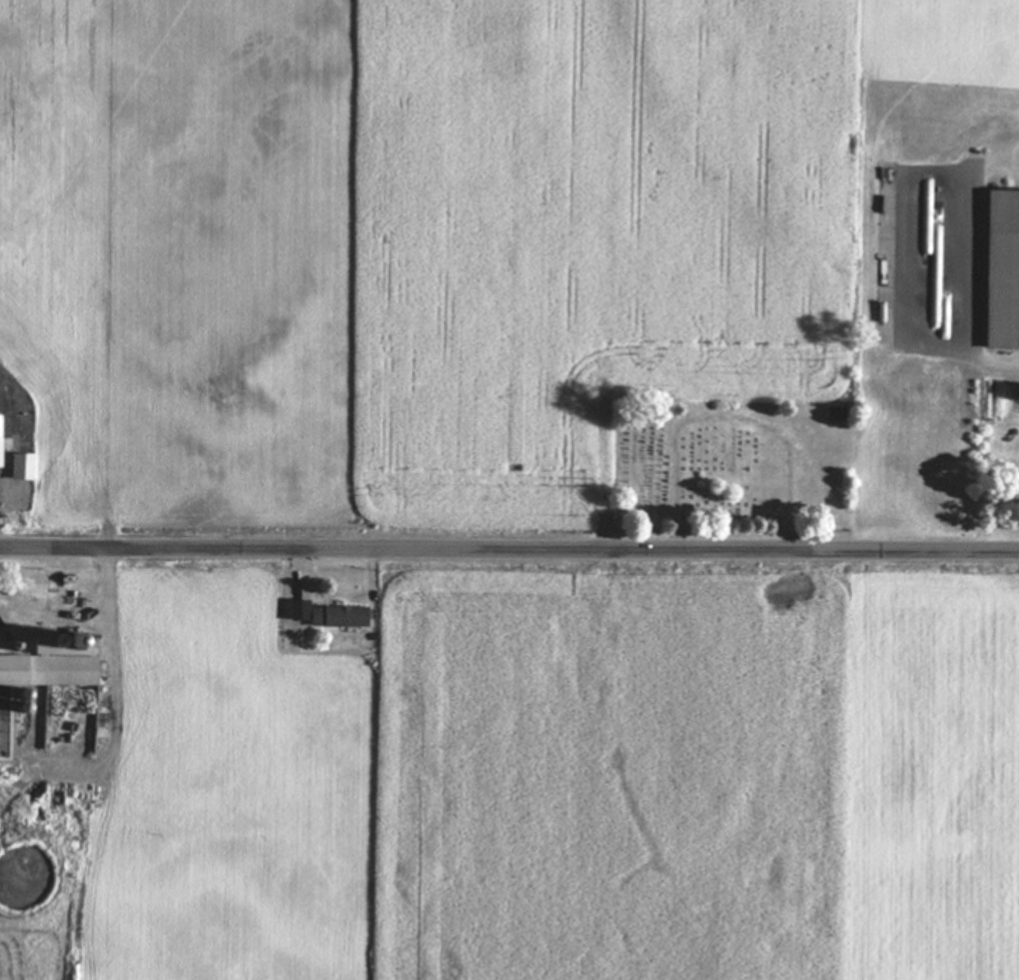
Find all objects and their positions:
building: (1000, 270)
building: (5, 445)
building: (26, 468)
park: (732, 468)
building: (1010, 484)
road: (509, 551)
road: (56, 616)
building: (334, 616)
road: (115, 640)
building: (58, 664)

